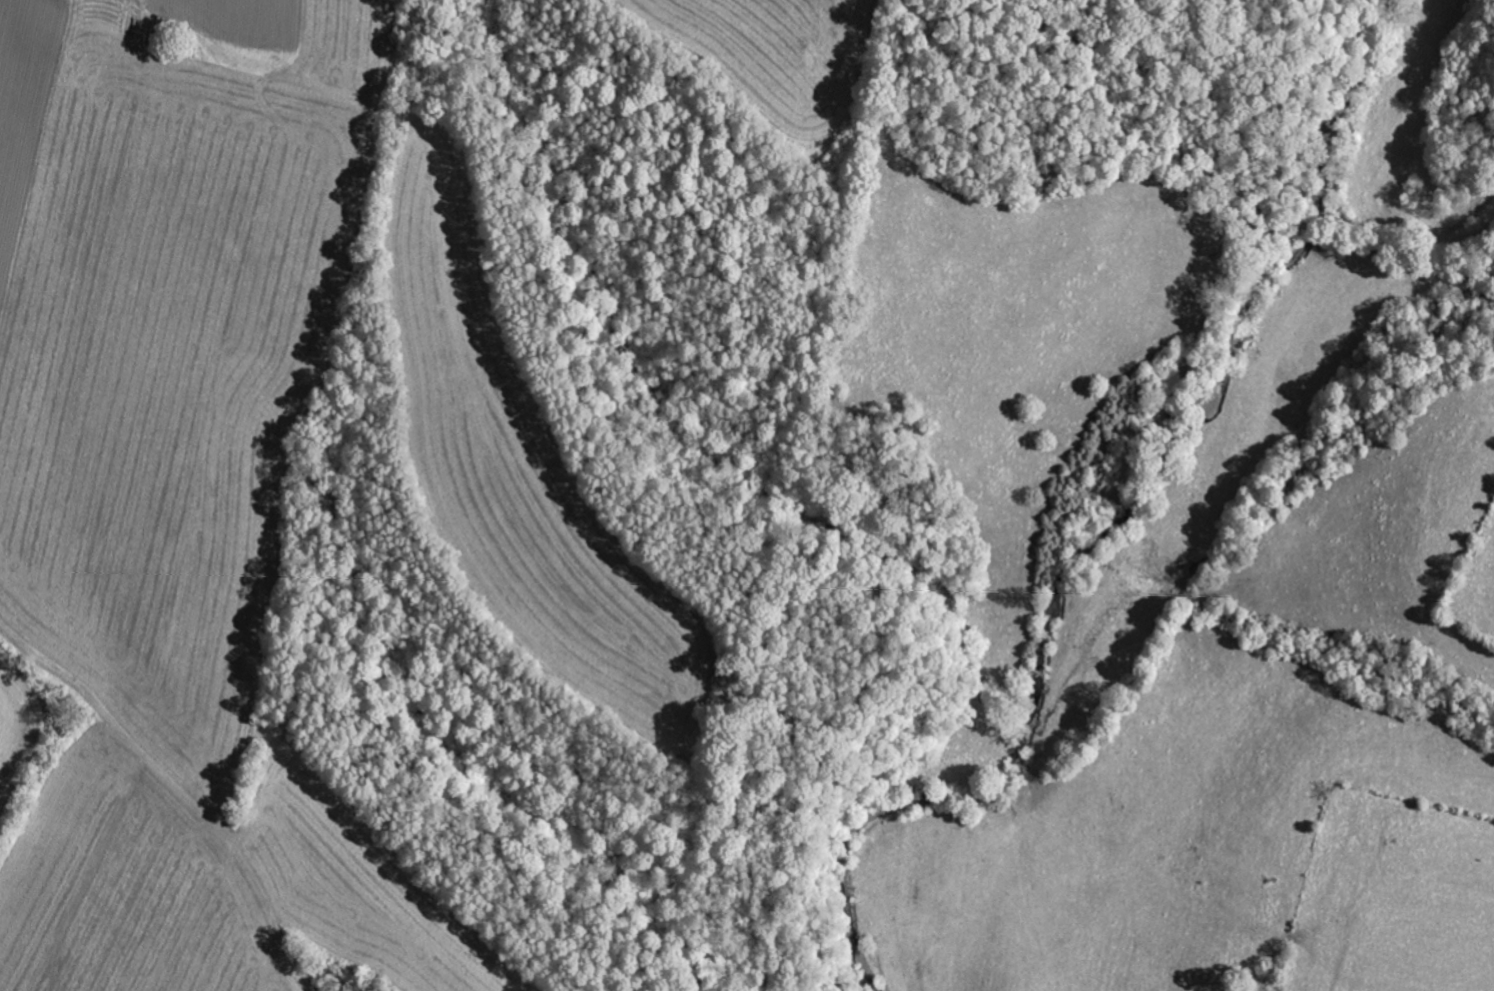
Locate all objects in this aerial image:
road: (1276, 869)

